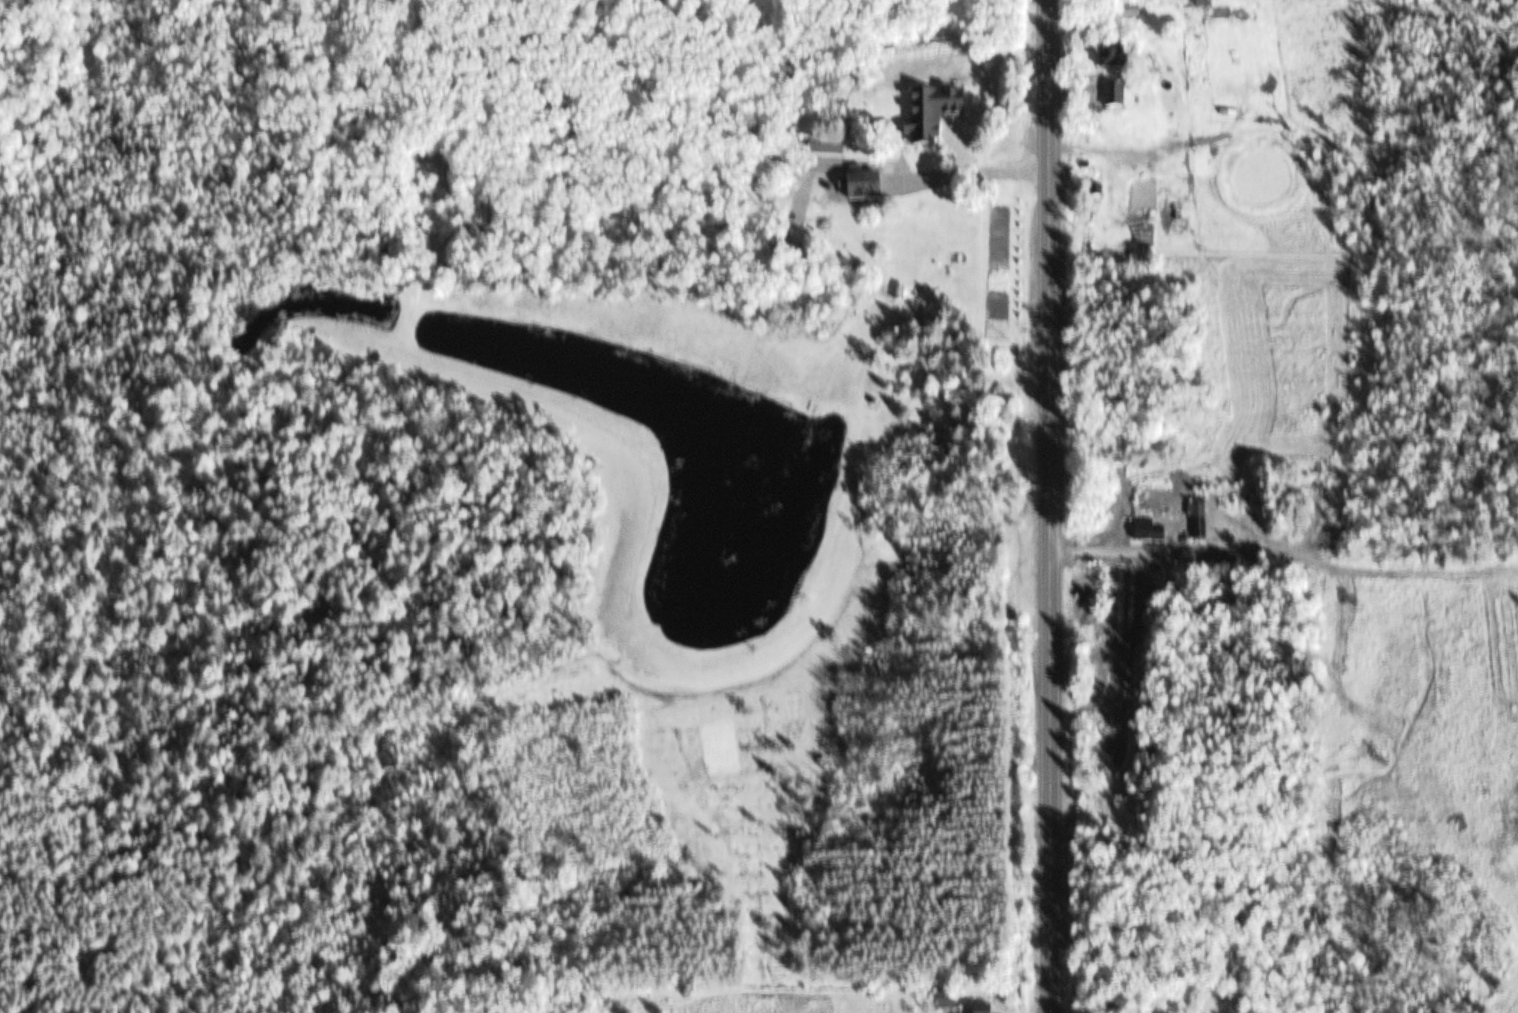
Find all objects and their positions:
building: (1118, 57)
building: (1119, 97)
building: (934, 115)
building: (827, 147)
building: (897, 180)
road: (1051, 506)
building: (945, 1000)
building: (984, 1008)

